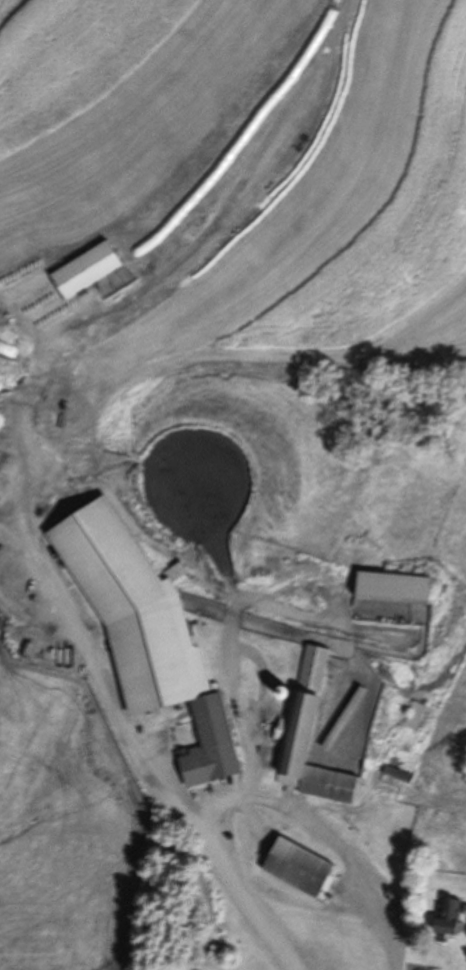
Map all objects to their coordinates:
building: (86, 270)
building: (394, 586)
building: (146, 632)
building: (415, 716)
building: (311, 737)
building: (399, 775)
road: (267, 793)
building: (298, 868)
building: (448, 916)

